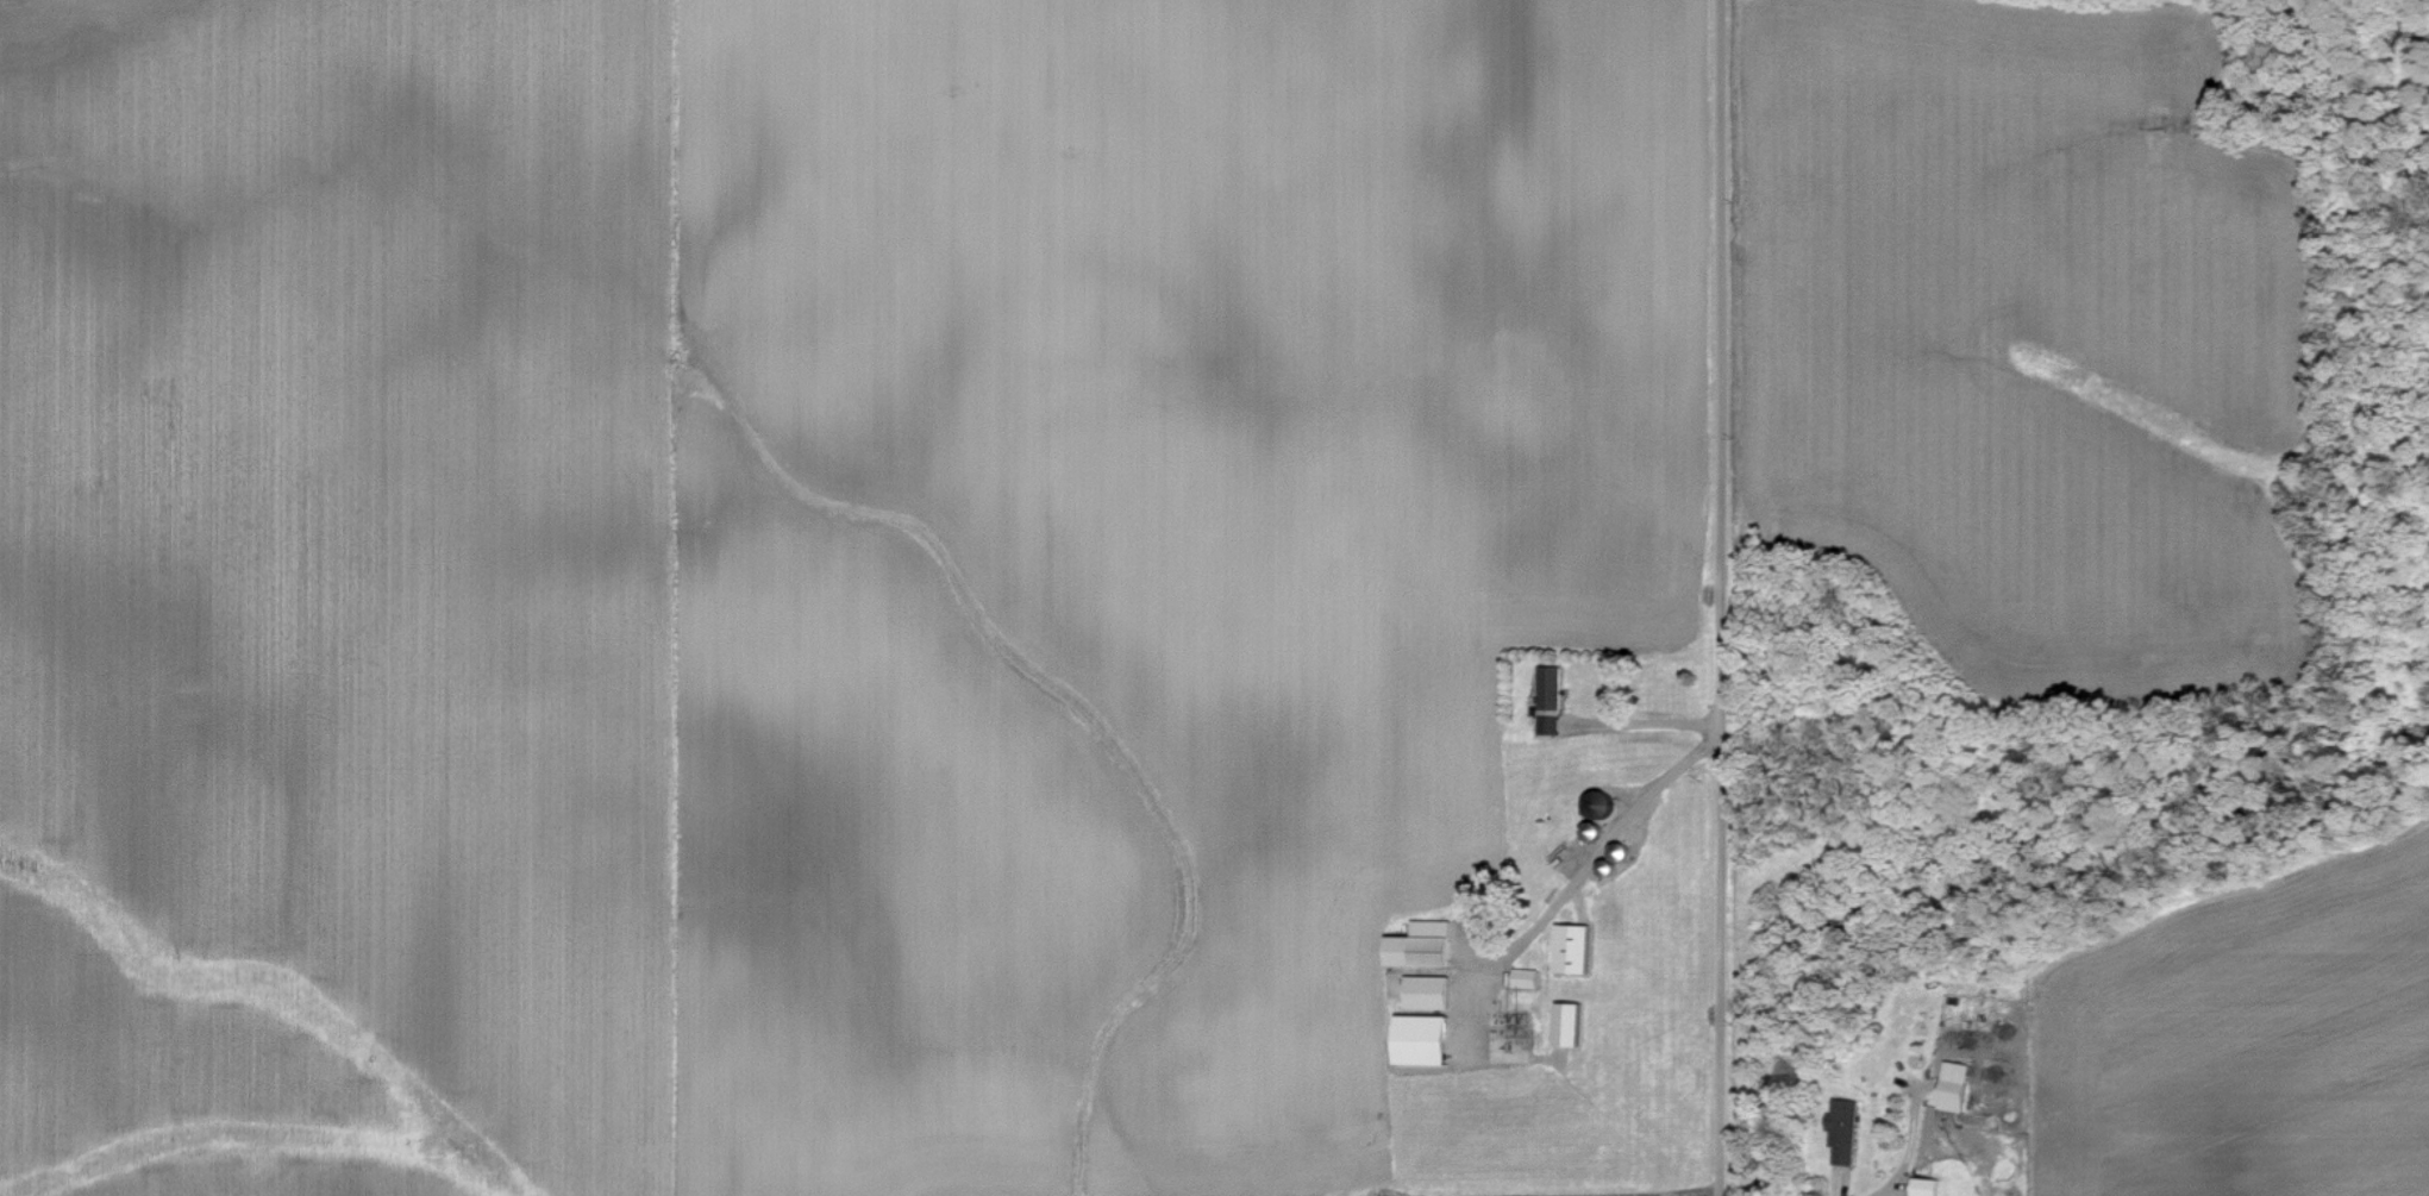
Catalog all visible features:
road: (1717, 597)
building: (1550, 699)
road: (1634, 719)
road: (1602, 847)
building: (1425, 945)
building: (1575, 948)
building: (1429, 991)
building: (1571, 1023)
building: (1425, 1039)
building: (1955, 1085)
building: (1845, 1131)
road: (1842, 1186)
building: (1928, 1186)

